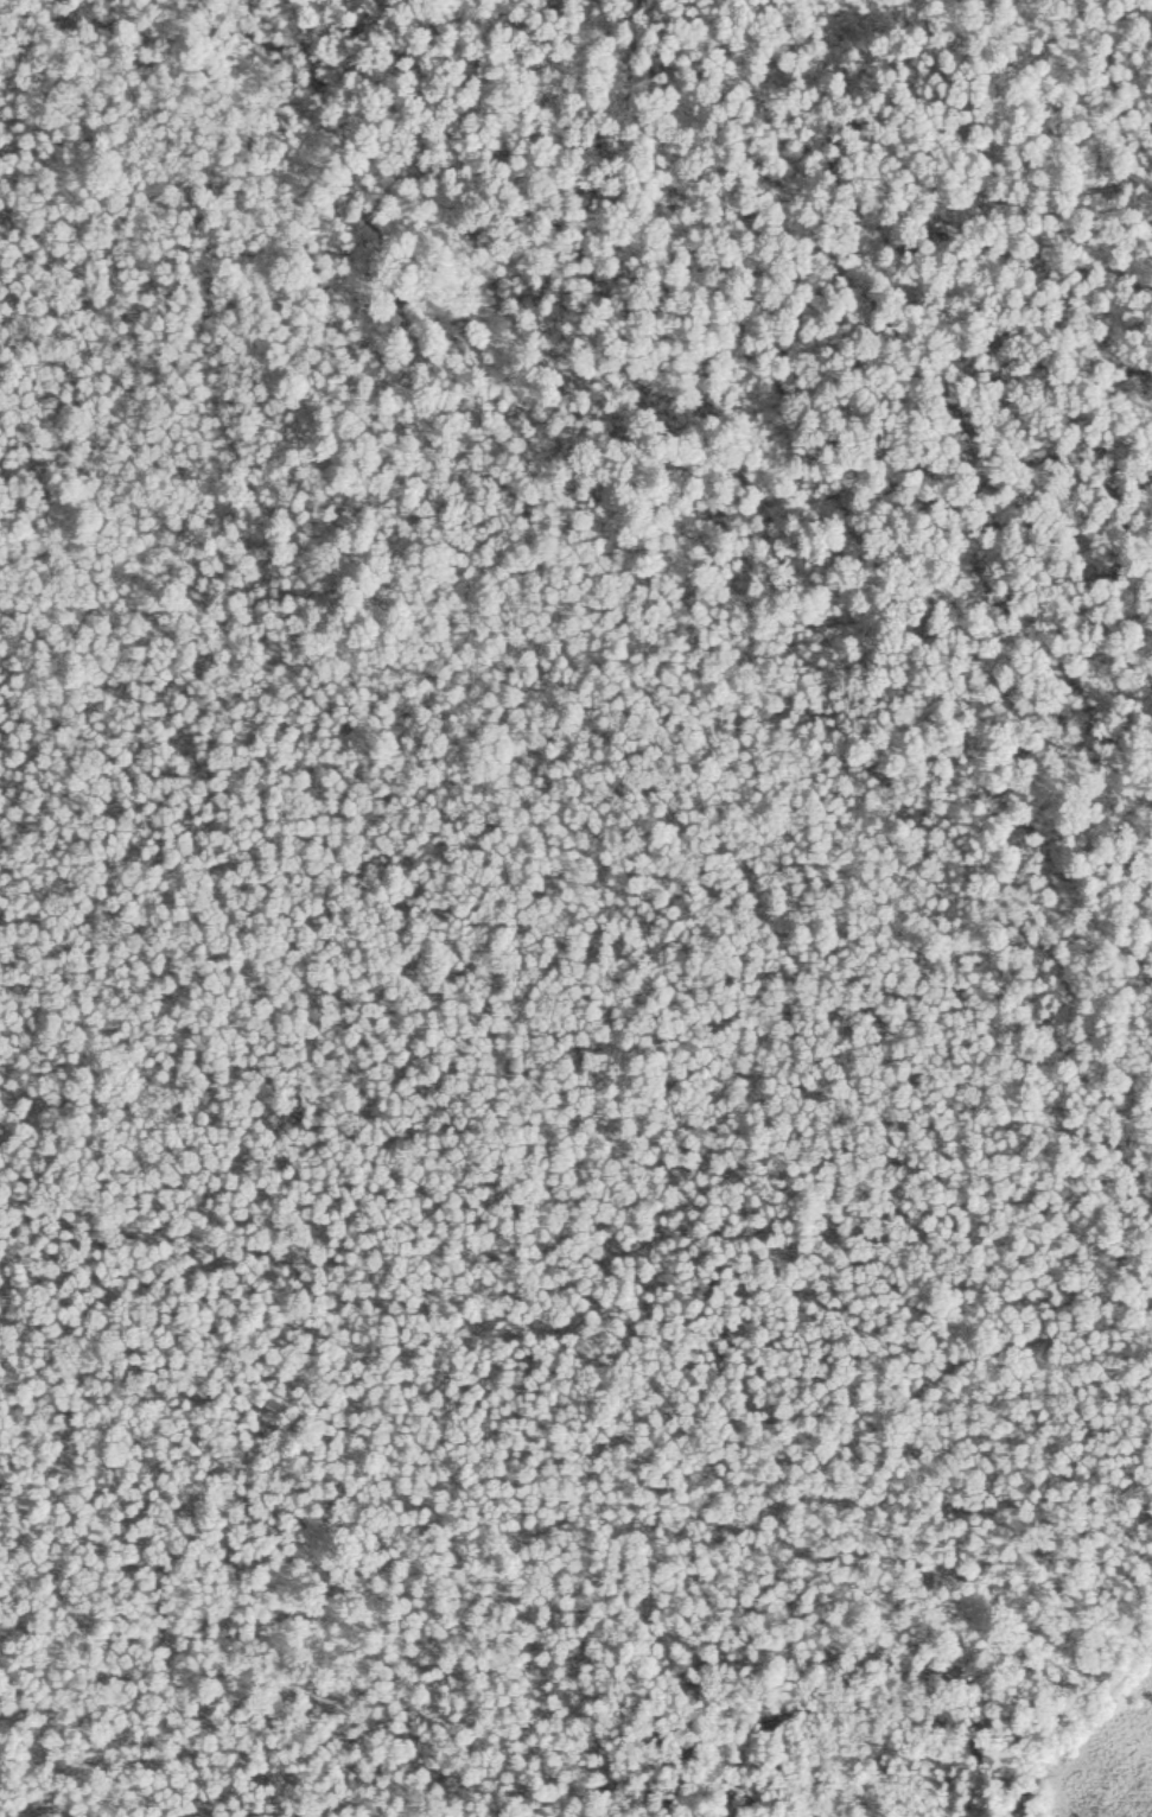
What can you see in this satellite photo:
road: (574, 871)

